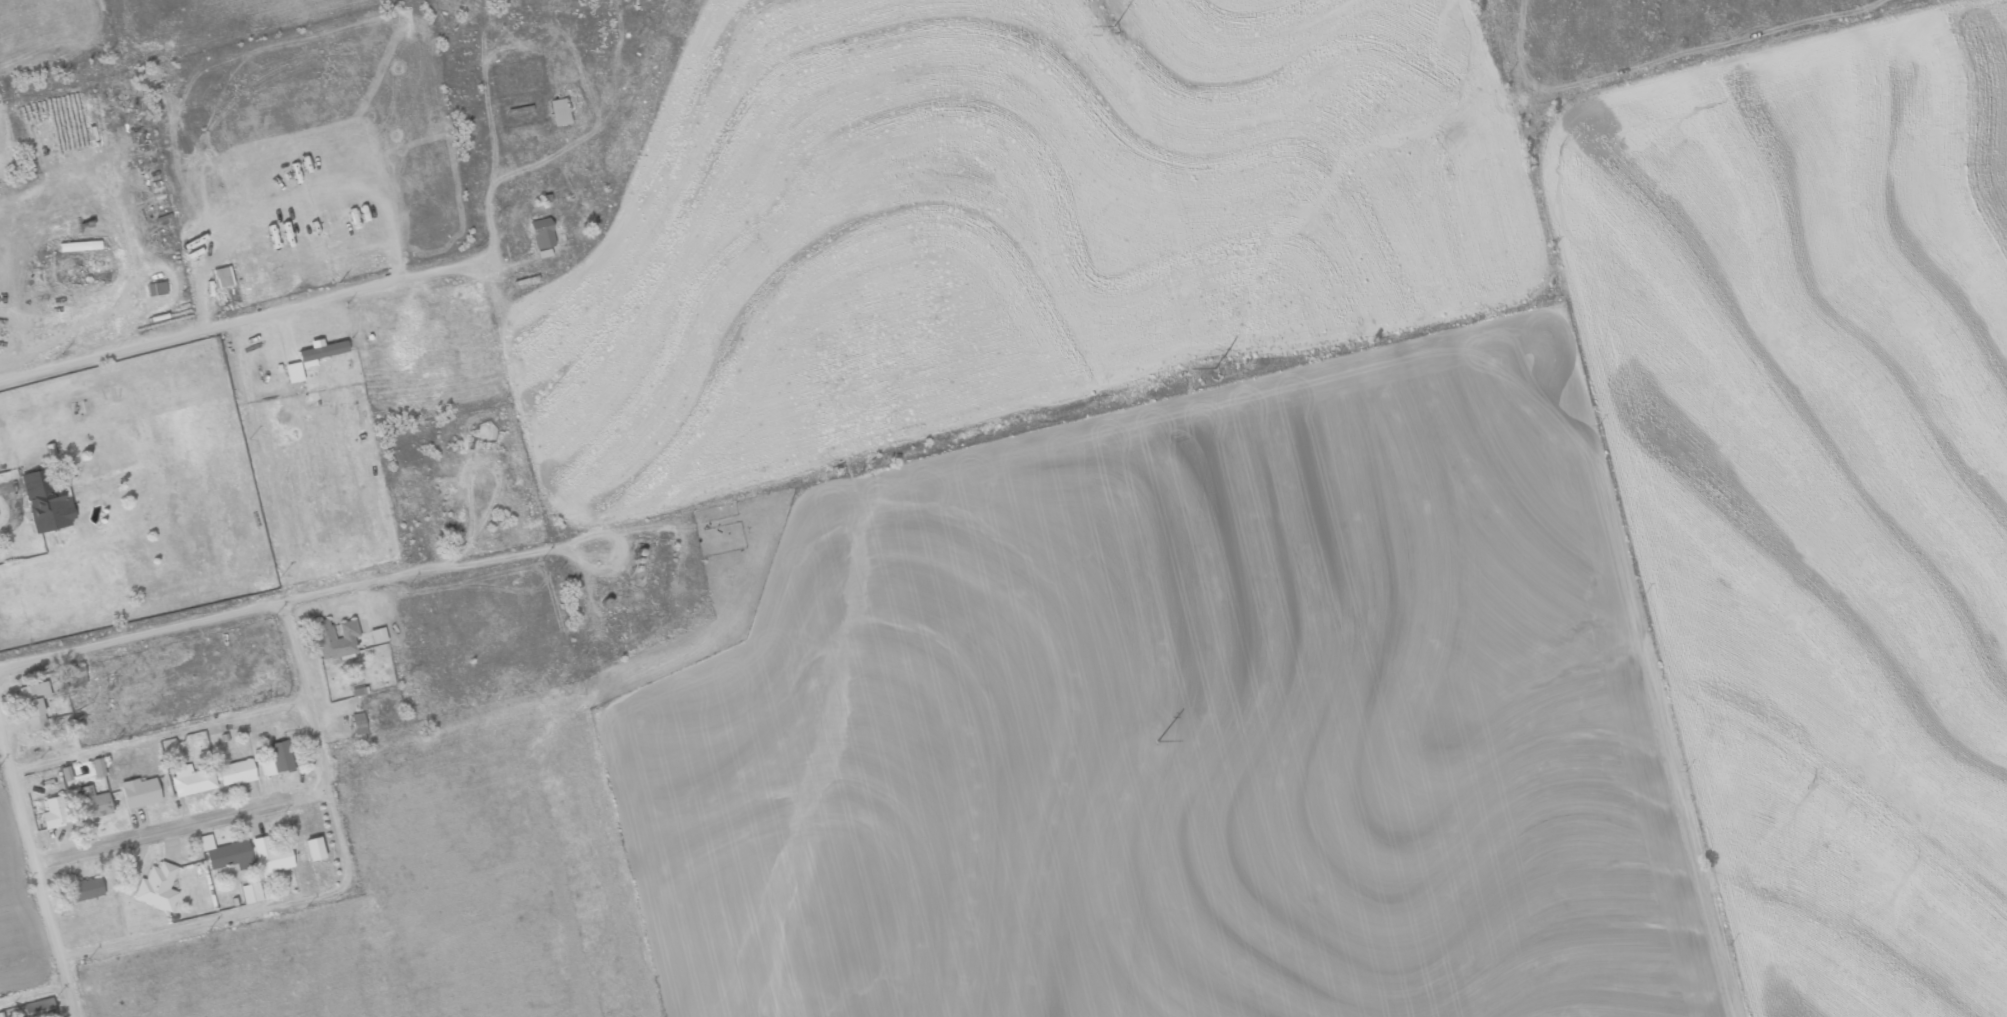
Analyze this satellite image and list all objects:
power tower: (1115, 31)
building: (559, 111)
building: (542, 234)
building: (78, 245)
building: (221, 277)
building: (156, 288)
road: (243, 321)
building: (320, 349)
building: (292, 371)
power tower: (1212, 377)
building: (44, 503)
road: (276, 604)
building: (377, 635)
building: (333, 638)
building: (75, 676)
building: (34, 704)
building: (357, 723)
road: (160, 734)
power tower: (1156, 748)
building: (276, 759)
building: (97, 767)
building: (235, 772)
building: (65, 773)
building: (191, 780)
building: (139, 792)
building: (89, 805)
building: (53, 812)
road: (181, 826)
building: (313, 849)
building: (270, 855)
building: (229, 856)
road: (35, 868)
road: (342, 886)
building: (157, 887)
building: (85, 890)
building: (250, 892)
road: (33, 995)
building: (39, 1008)

